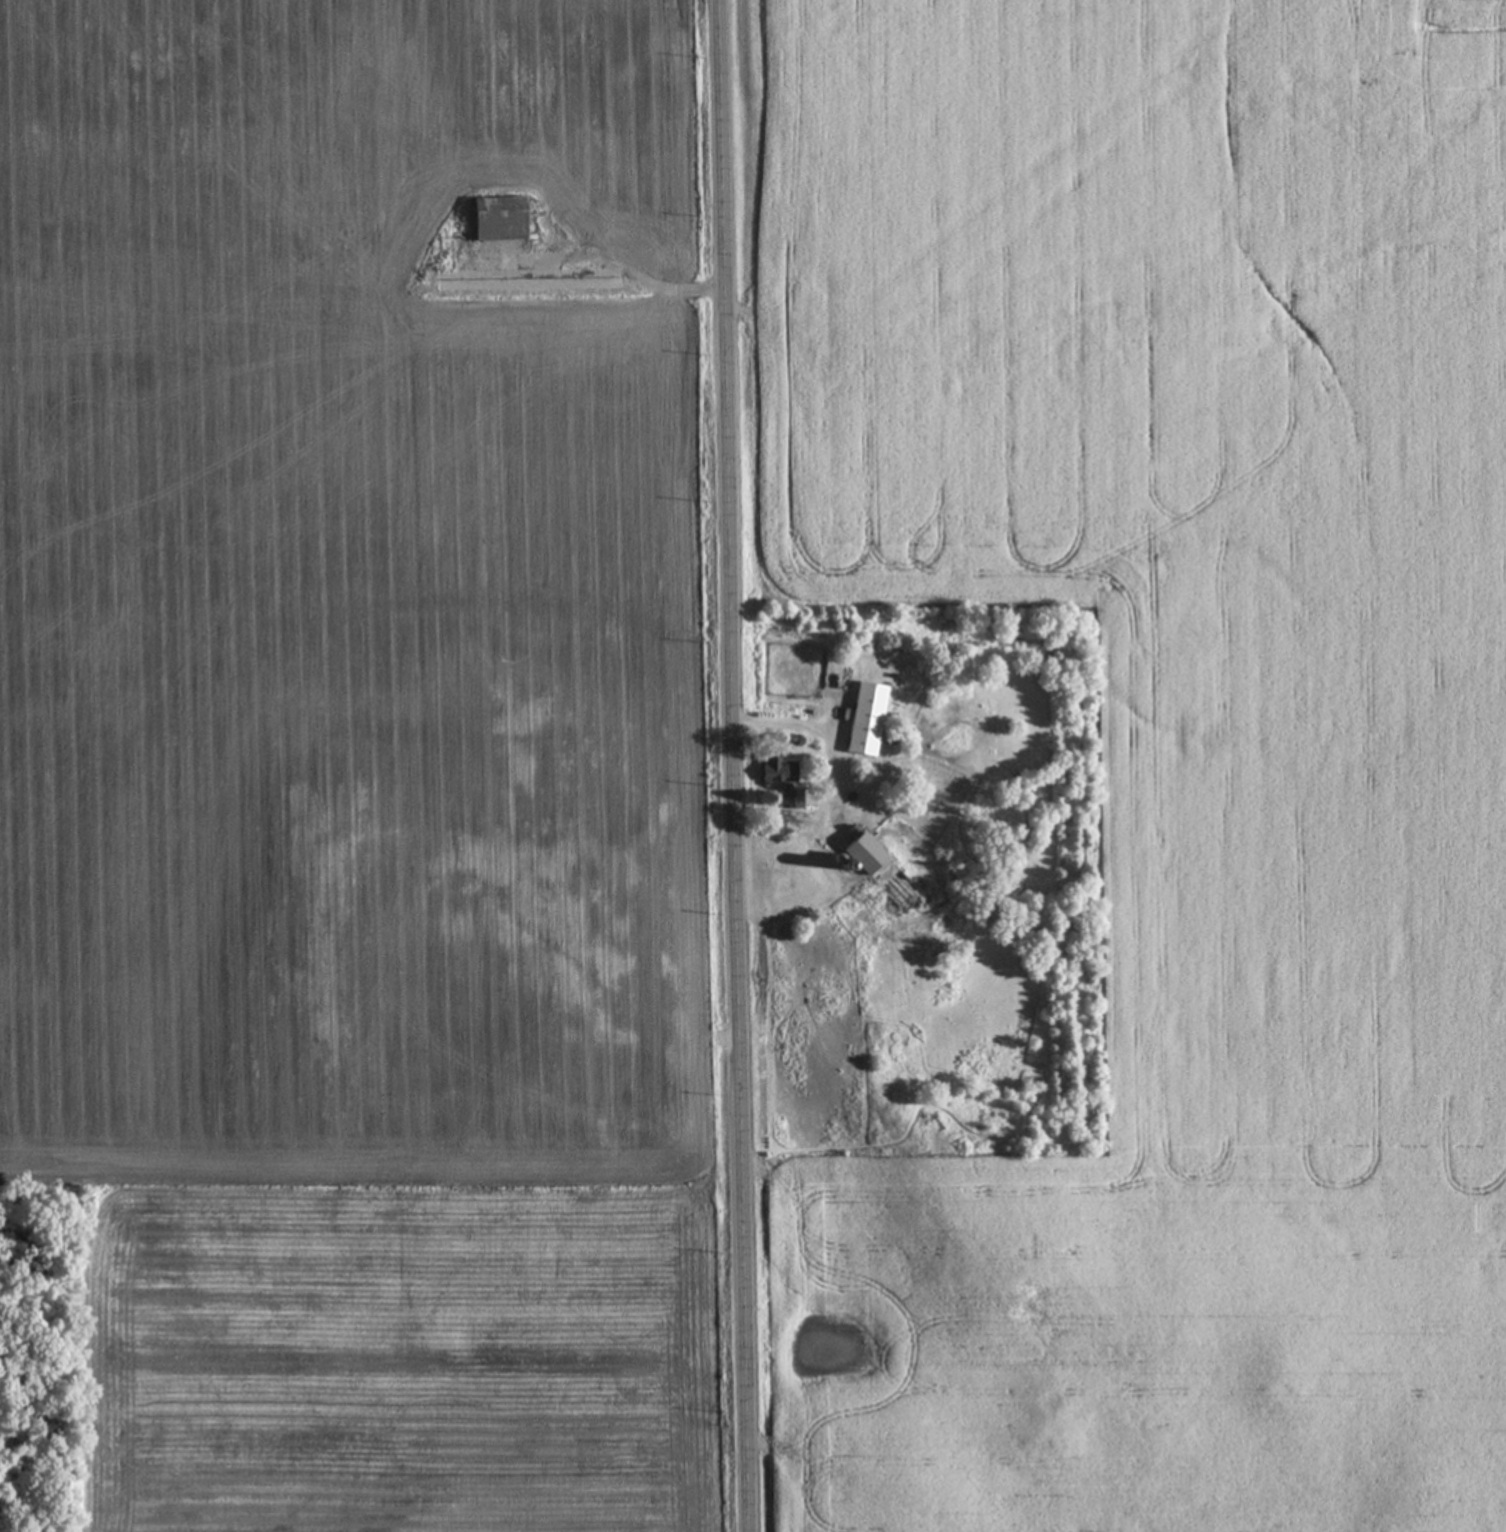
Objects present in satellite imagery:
building: (499, 219)
building: (867, 721)
road: (807, 722)
road: (734, 765)
building: (779, 773)
building: (792, 801)
building: (883, 875)

